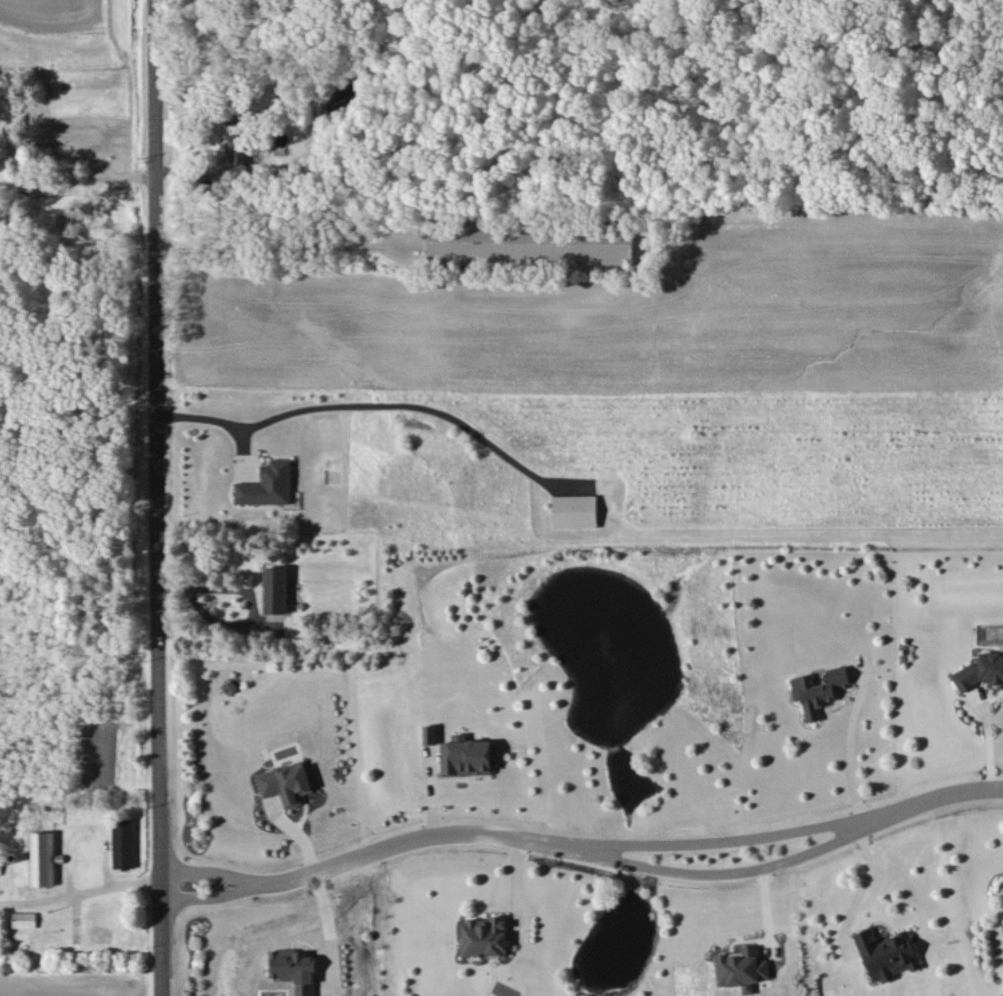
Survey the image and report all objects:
building: (239, 155)
road: (76, 172)
road: (285, 239)
building: (530, 244)
road: (415, 402)
road: (211, 421)
building: (267, 485)
road: (155, 498)
building: (574, 511)
building: (276, 589)
road: (250, 602)
building: (980, 671)
building: (818, 690)
building: (429, 734)
road: (843, 753)
building: (466, 755)
building: (286, 782)
road: (928, 793)
road: (413, 832)
road: (717, 836)
building: (123, 843)
building: (41, 858)
building: (0, 866)
road: (209, 867)
road: (720, 867)
road: (862, 885)
road: (209, 892)
road: (84, 896)
building: (24, 919)
building: (483, 936)
building: (886, 954)
building: (742, 966)
building: (294, 969)

